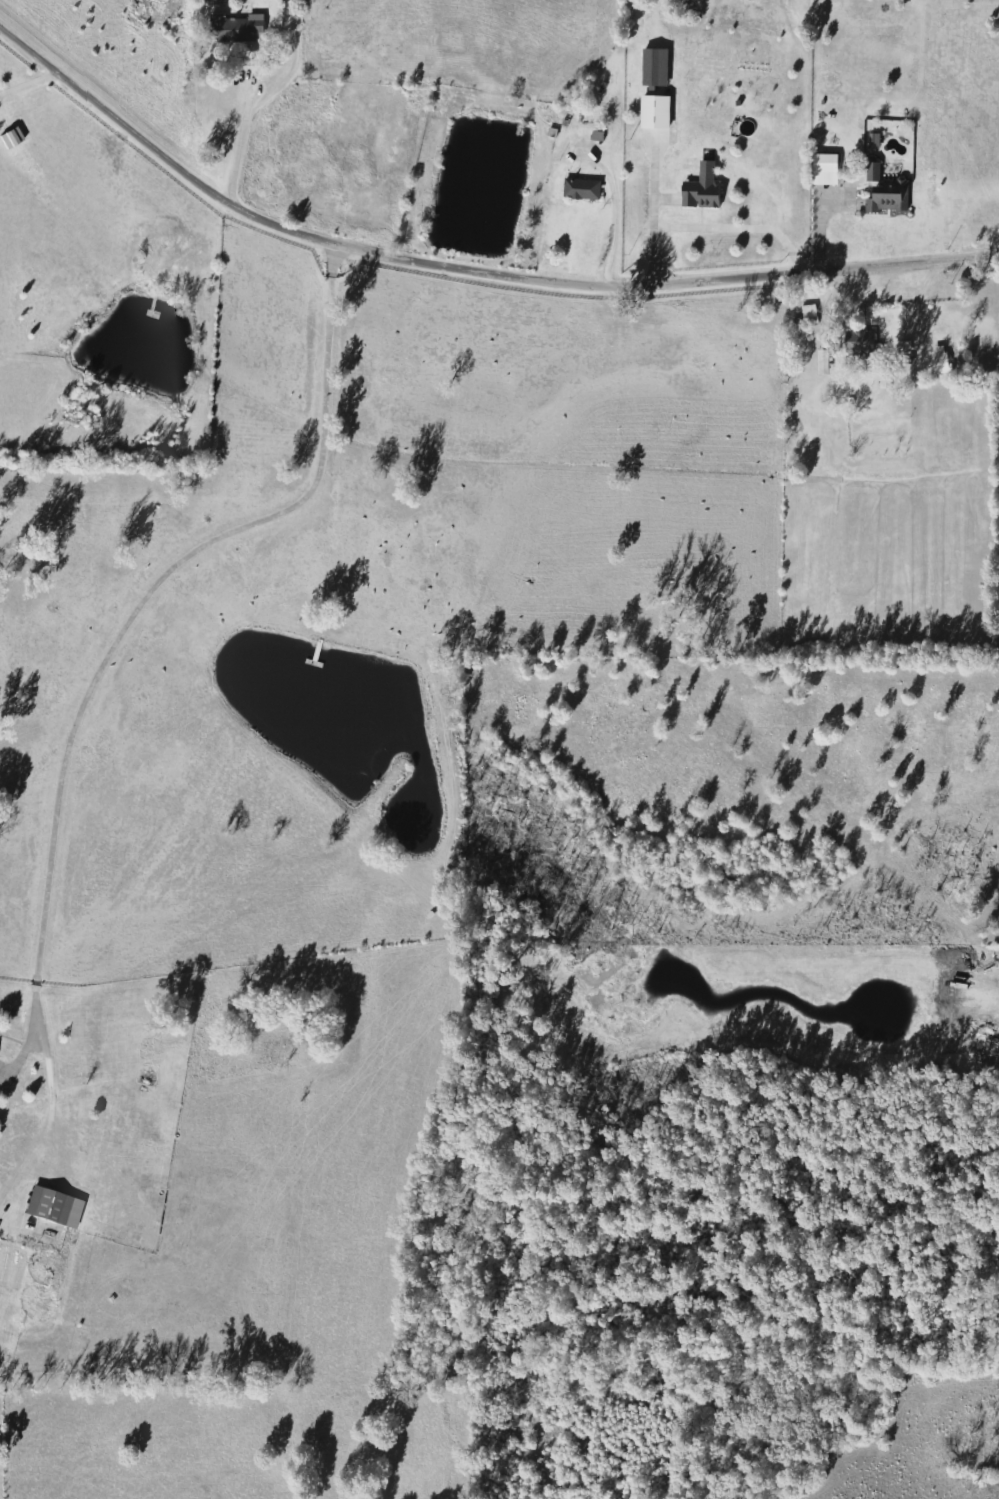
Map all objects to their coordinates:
building: (252, 28)
building: (655, 112)
building: (824, 170)
building: (590, 182)
building: (886, 192)
building: (701, 193)
road: (464, 268)
building: (804, 318)
building: (860, 344)
building: (822, 363)
building: (939, 364)
building: (61, 1205)

